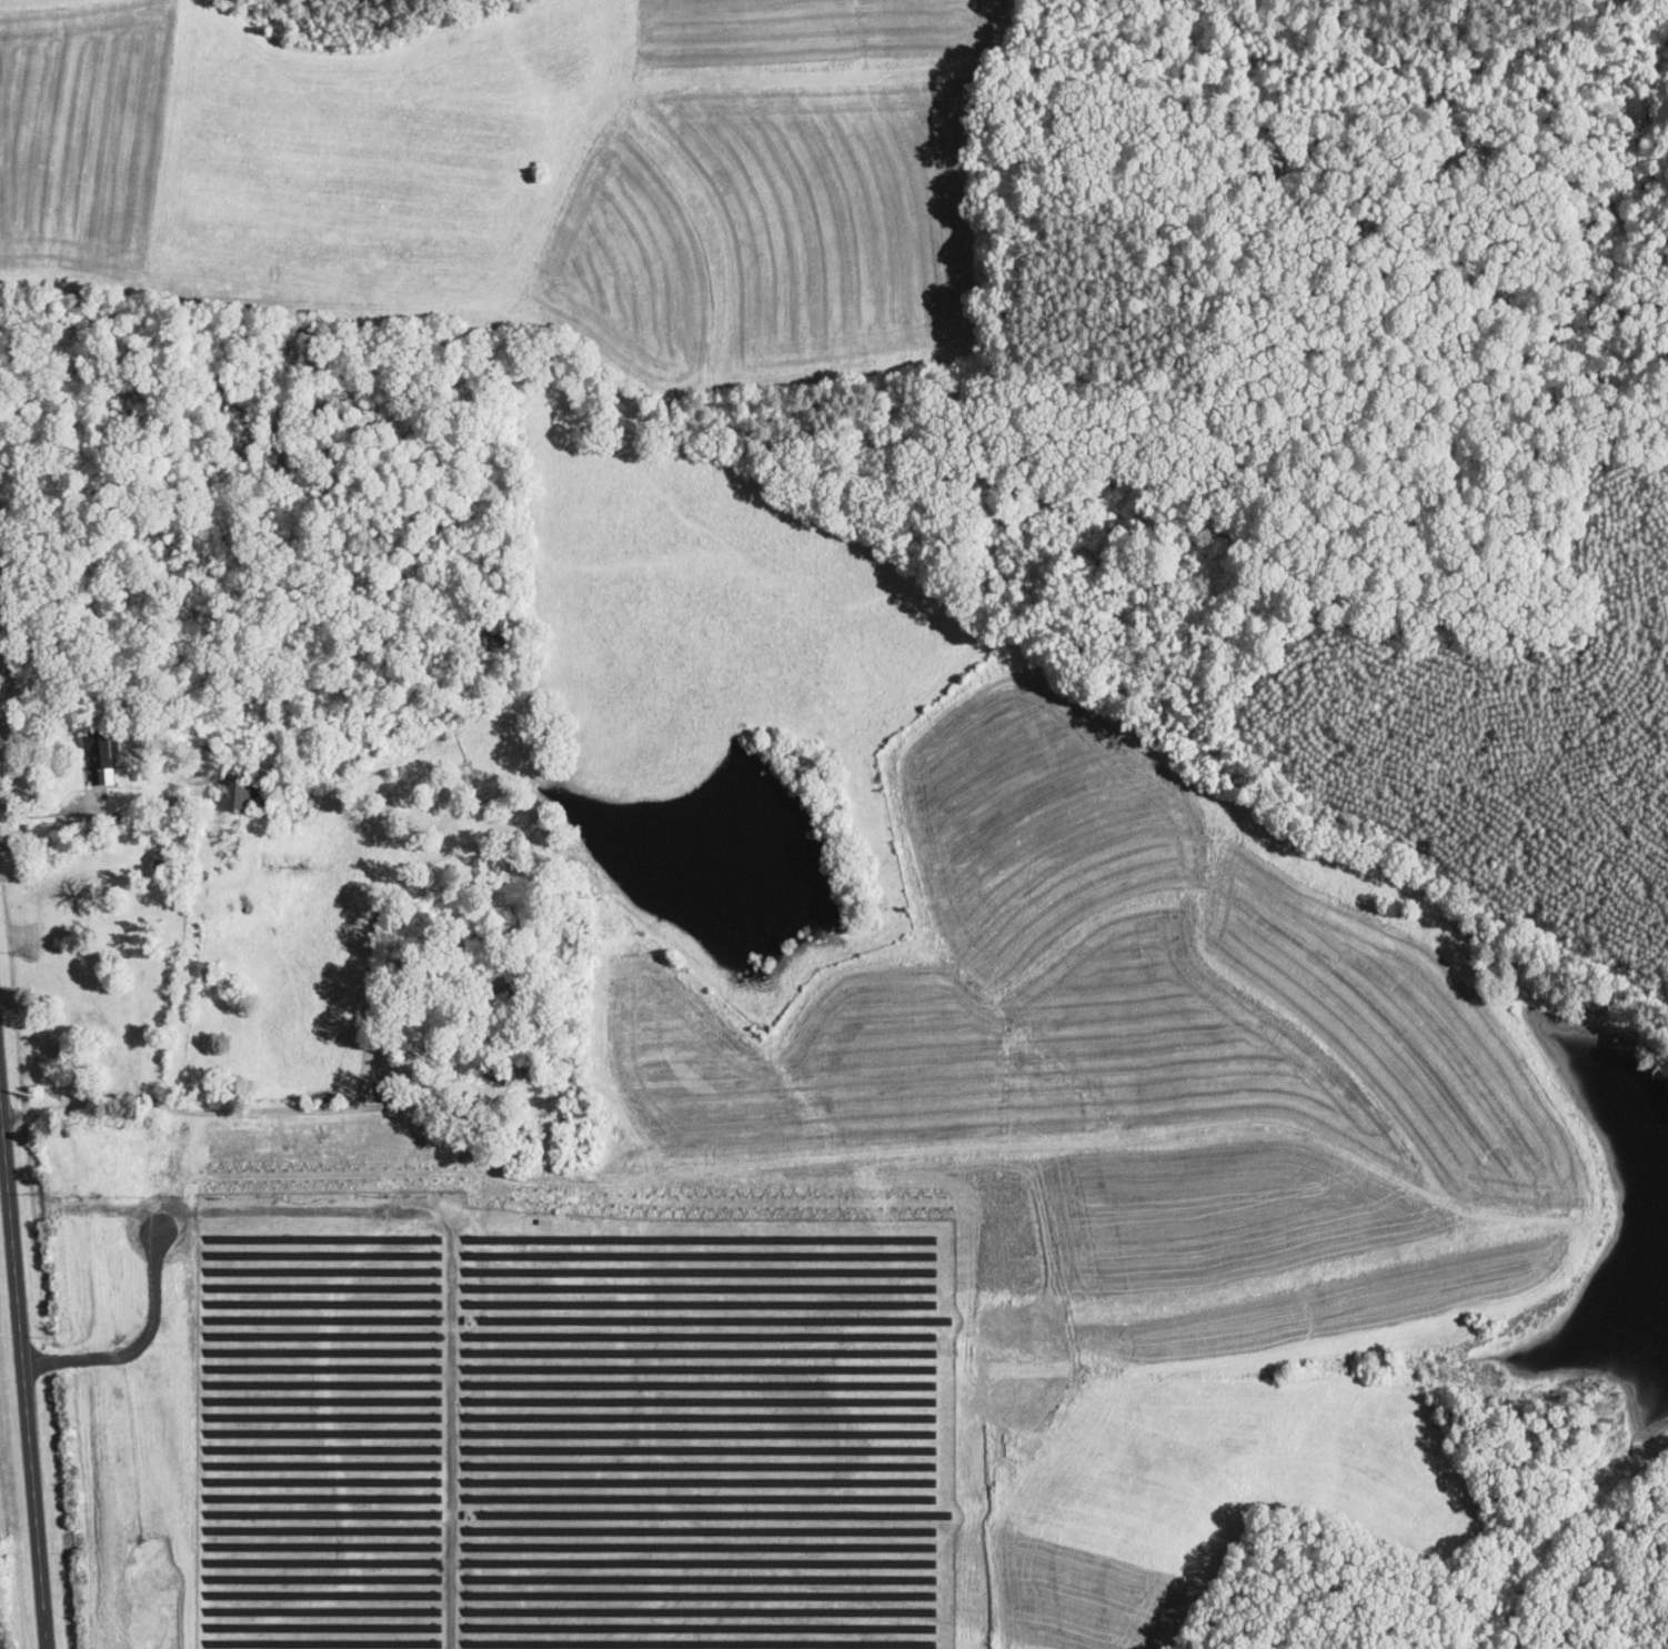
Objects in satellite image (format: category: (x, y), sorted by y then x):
building: (101, 760)
building: (237, 794)
road: (47, 808)
building: (330, 1099)
building: (557, 1228)
road: (22, 1391)

